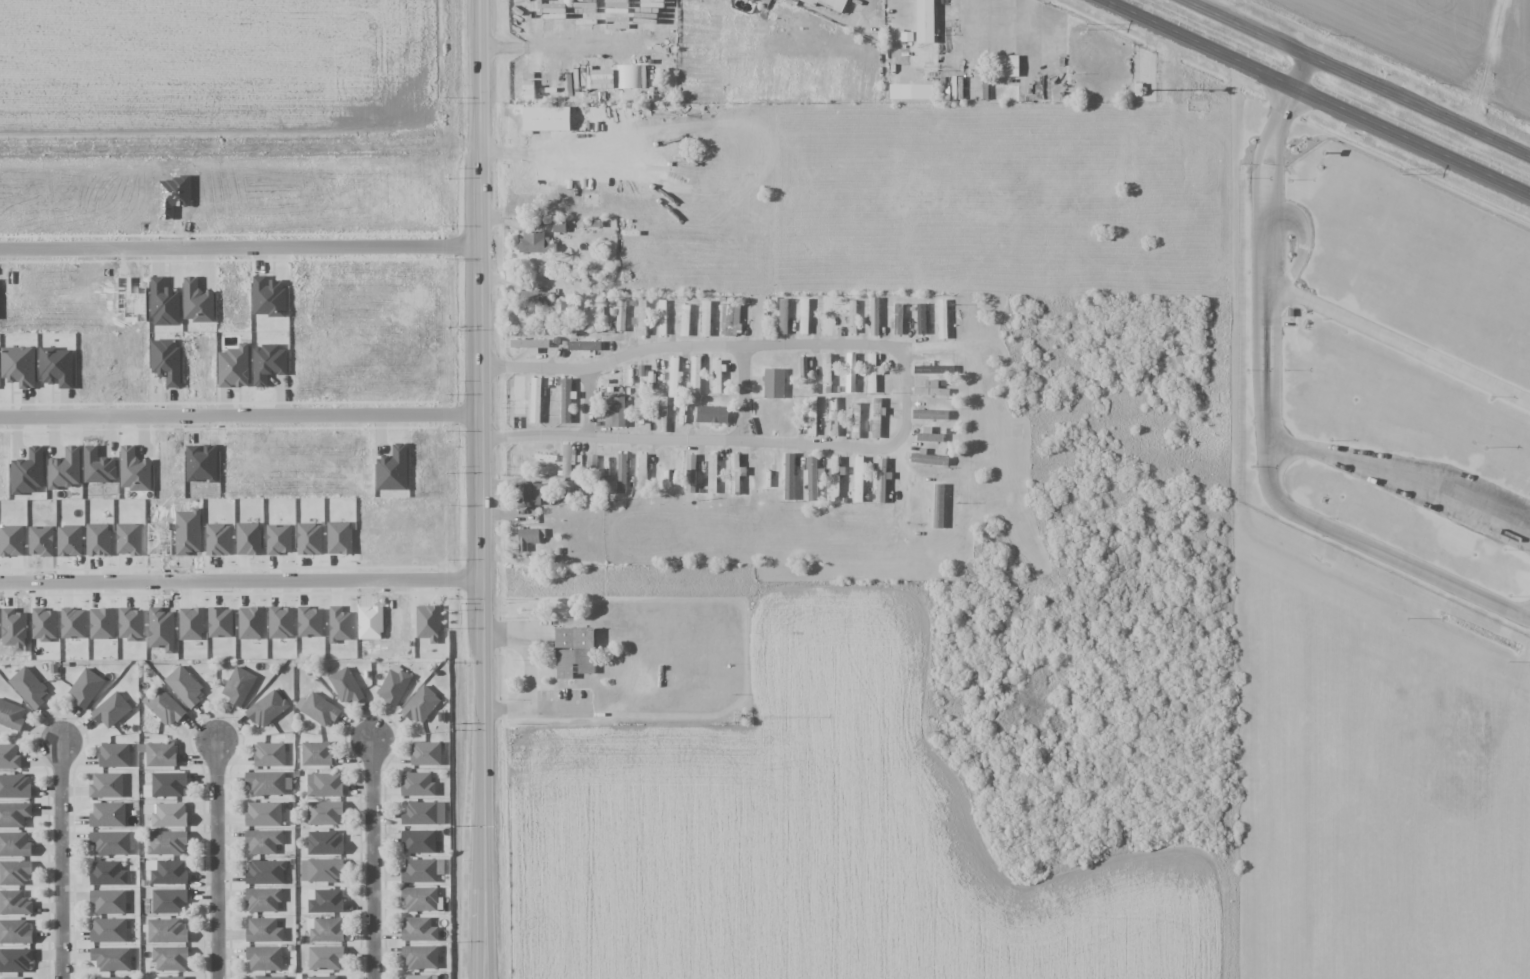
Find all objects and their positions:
building: (823, 3)
building: (924, 21)
power tower: (1087, 24)
crop: (1411, 31)
crop: (1511, 59)
road: (1300, 70)
building: (629, 76)
road: (1359, 77)
building: (910, 91)
road: (1319, 98)
building: (545, 119)
power tower: (1400, 169)
building: (535, 242)
road: (240, 248)
building: (535, 298)
building: (562, 308)
building: (873, 315)
building: (782, 316)
building: (803, 316)
building: (852, 316)
building: (619, 317)
building: (641, 317)
building: (661, 317)
building: (827, 317)
building: (705, 318)
building: (730, 319)
building: (897, 319)
building: (684, 320)
building: (918, 320)
road: (1397, 340)
building: (529, 343)
building: (583, 345)
building: (166, 360)
building: (267, 363)
building: (19, 366)
building: (802, 366)
building: (56, 367)
building: (233, 367)
building: (849, 369)
building: (932, 370)
building: (872, 372)
building: (825, 373)
building: (695, 374)
building: (716, 376)
building: (673, 377)
building: (773, 383)
building: (930, 391)
road: (744, 394)
road: (904, 395)
building: (511, 397)
building: (535, 400)
building: (565, 400)
road: (586, 402)
building: (615, 413)
building: (661, 414)
building: (711, 414)
building: (929, 414)
building: (810, 416)
building: (832, 416)
road: (240, 417)
building: (875, 418)
building: (855, 420)
road: (1268, 430)
building: (929, 437)
building: (928, 459)
building: (566, 460)
building: (591, 461)
building: (65, 469)
building: (392, 469)
building: (134, 470)
building: (28, 472)
building: (641, 472)
building: (734, 472)
building: (621, 473)
building: (788, 476)
road: (1401, 476)
building: (811, 478)
building: (834, 479)
building: (858, 479)
building: (880, 480)
road: (482, 489)
building: (532, 493)
building: (528, 538)
road: (242, 583)
building: (574, 651)
building: (393, 685)
building: (184, 686)
building: (238, 686)
building: (345, 686)
building: (28, 687)
building: (85, 687)
building: (420, 704)
building: (163, 706)
building: (267, 708)
building: (317, 709)
building: (111, 710)
building: (11, 715)
building: (316, 753)
building: (425, 753)
building: (159, 754)
building: (269, 754)
building: (114, 755)
building: (9, 756)
building: (268, 782)
building: (168, 784)
building: (324, 784)
building: (417, 784)
building: (106, 785)
building: (14, 786)
building: (324, 812)
building: (424, 813)
building: (14, 814)
building: (263, 814)
building: (107, 815)
building: (169, 815)
building: (263, 841)
building: (111, 842)
building: (166, 842)
building: (324, 842)
building: (418, 842)
building: (15, 844)
road: (216, 857)
road: (371, 858)
road: (60, 859)
building: (320, 870)
building: (419, 871)
building: (14, 872)
building: (169, 872)
building: (265, 872)
building: (108, 873)
building: (420, 899)
building: (263, 900)
building: (108, 901)
building: (168, 901)
building: (324, 901)
building: (14, 903)
building: (326, 929)
building: (418, 929)
building: (108, 930)
building: (166, 930)
building: (263, 930)
building: (15, 931)
building: (420, 956)
building: (264, 957)
building: (111, 958)
building: (170, 958)
building: (325, 958)
building: (15, 960)
building: (420, 976)
building: (13, 977)
building: (110, 977)
building: (171, 977)
building: (269, 977)
building: (323, 977)

